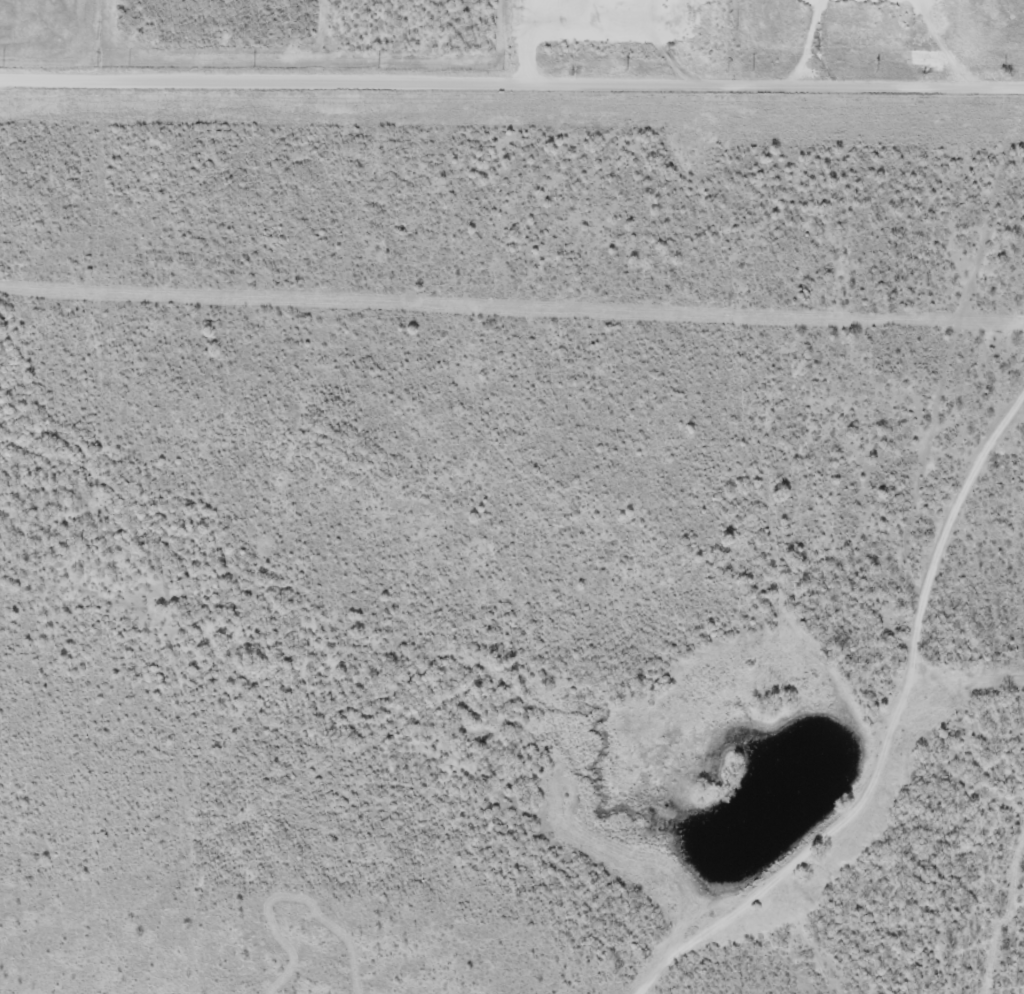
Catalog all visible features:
road: (526, 38)
road: (808, 39)
road: (512, 75)

